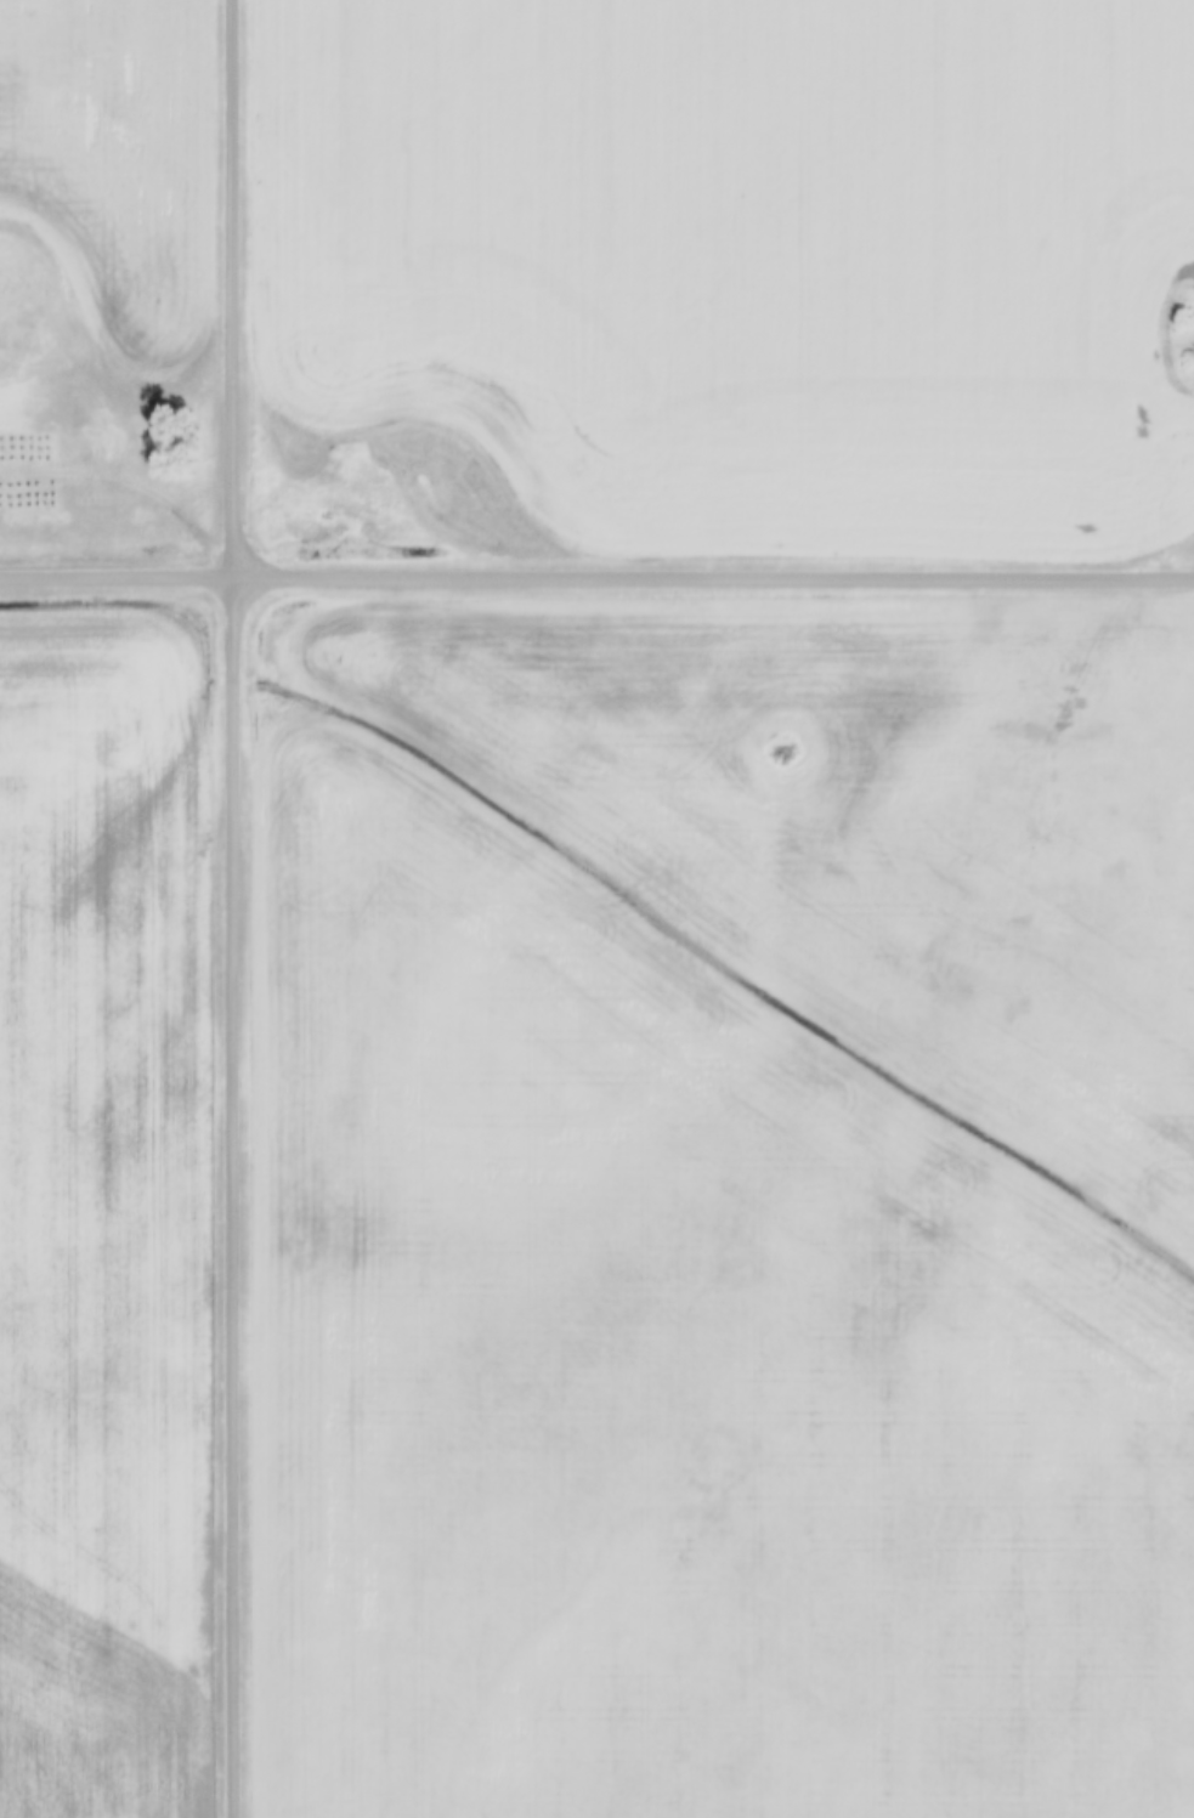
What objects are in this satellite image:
road: (119, 574)
road: (715, 574)
road: (237, 908)

